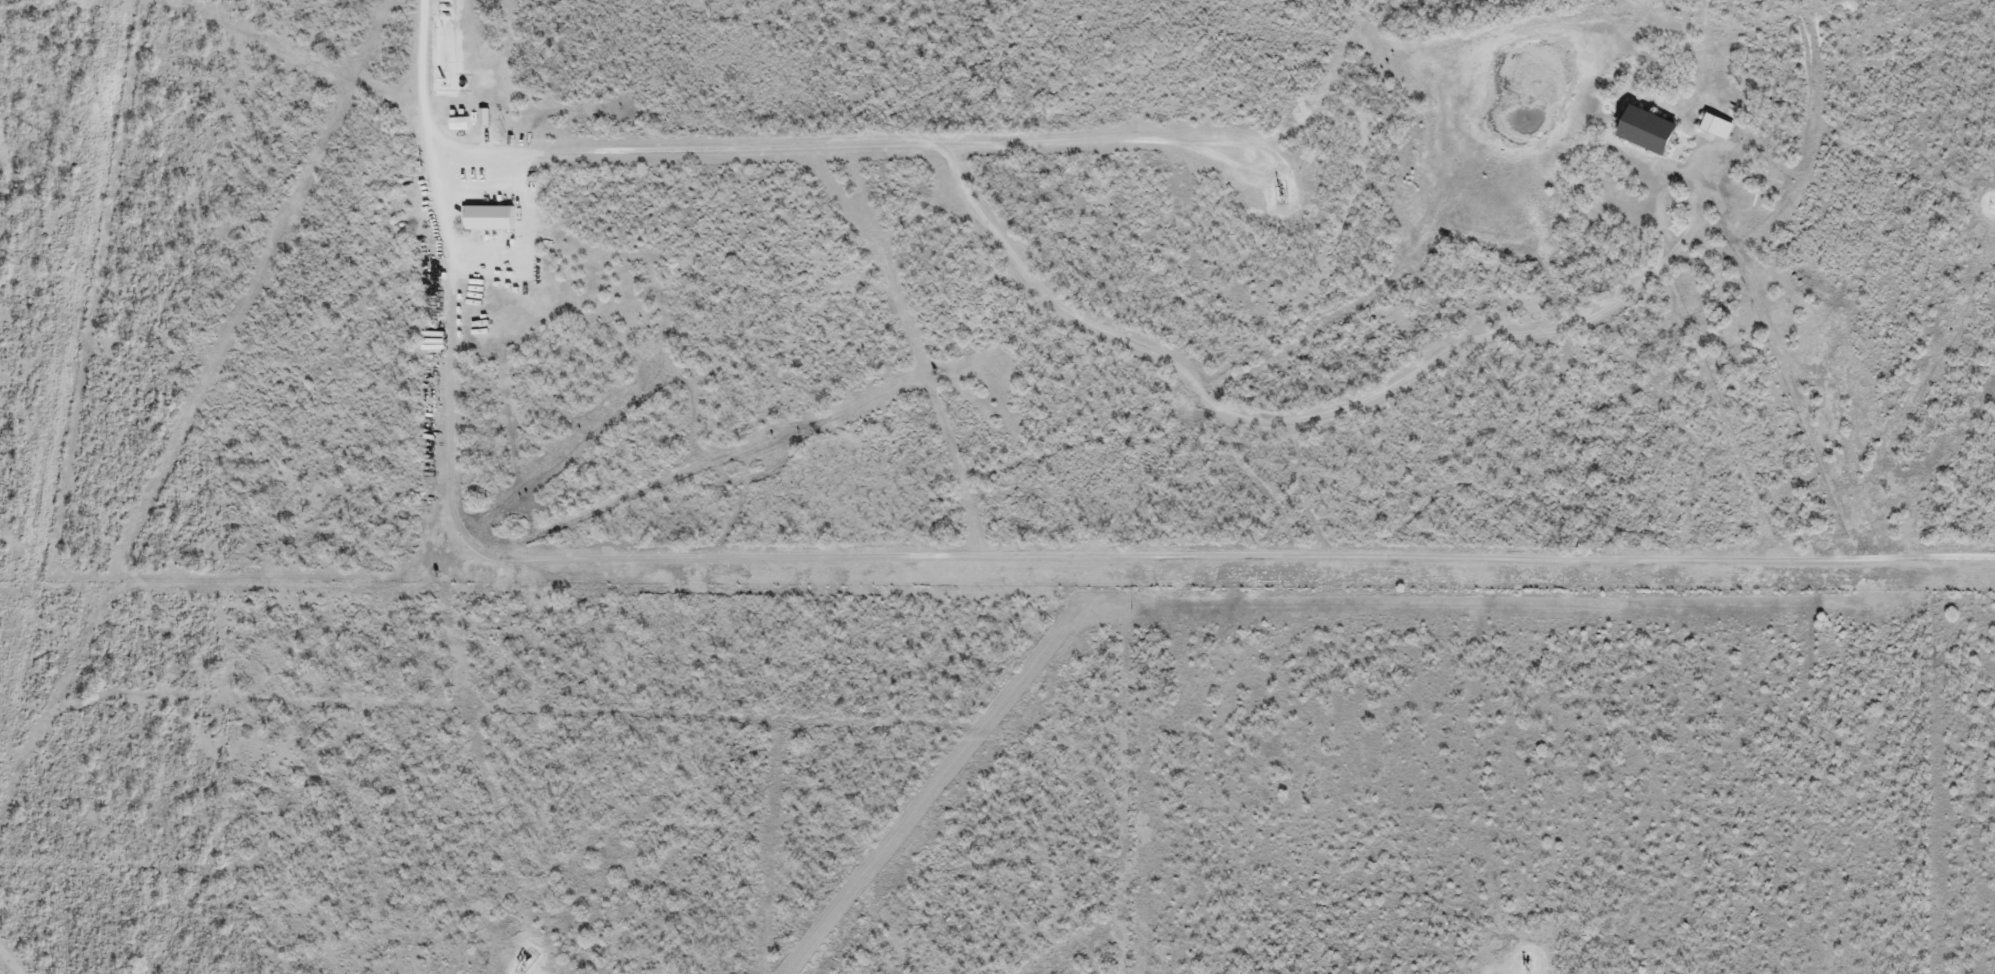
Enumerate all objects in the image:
building: (1713, 127)
building: (1640, 129)

